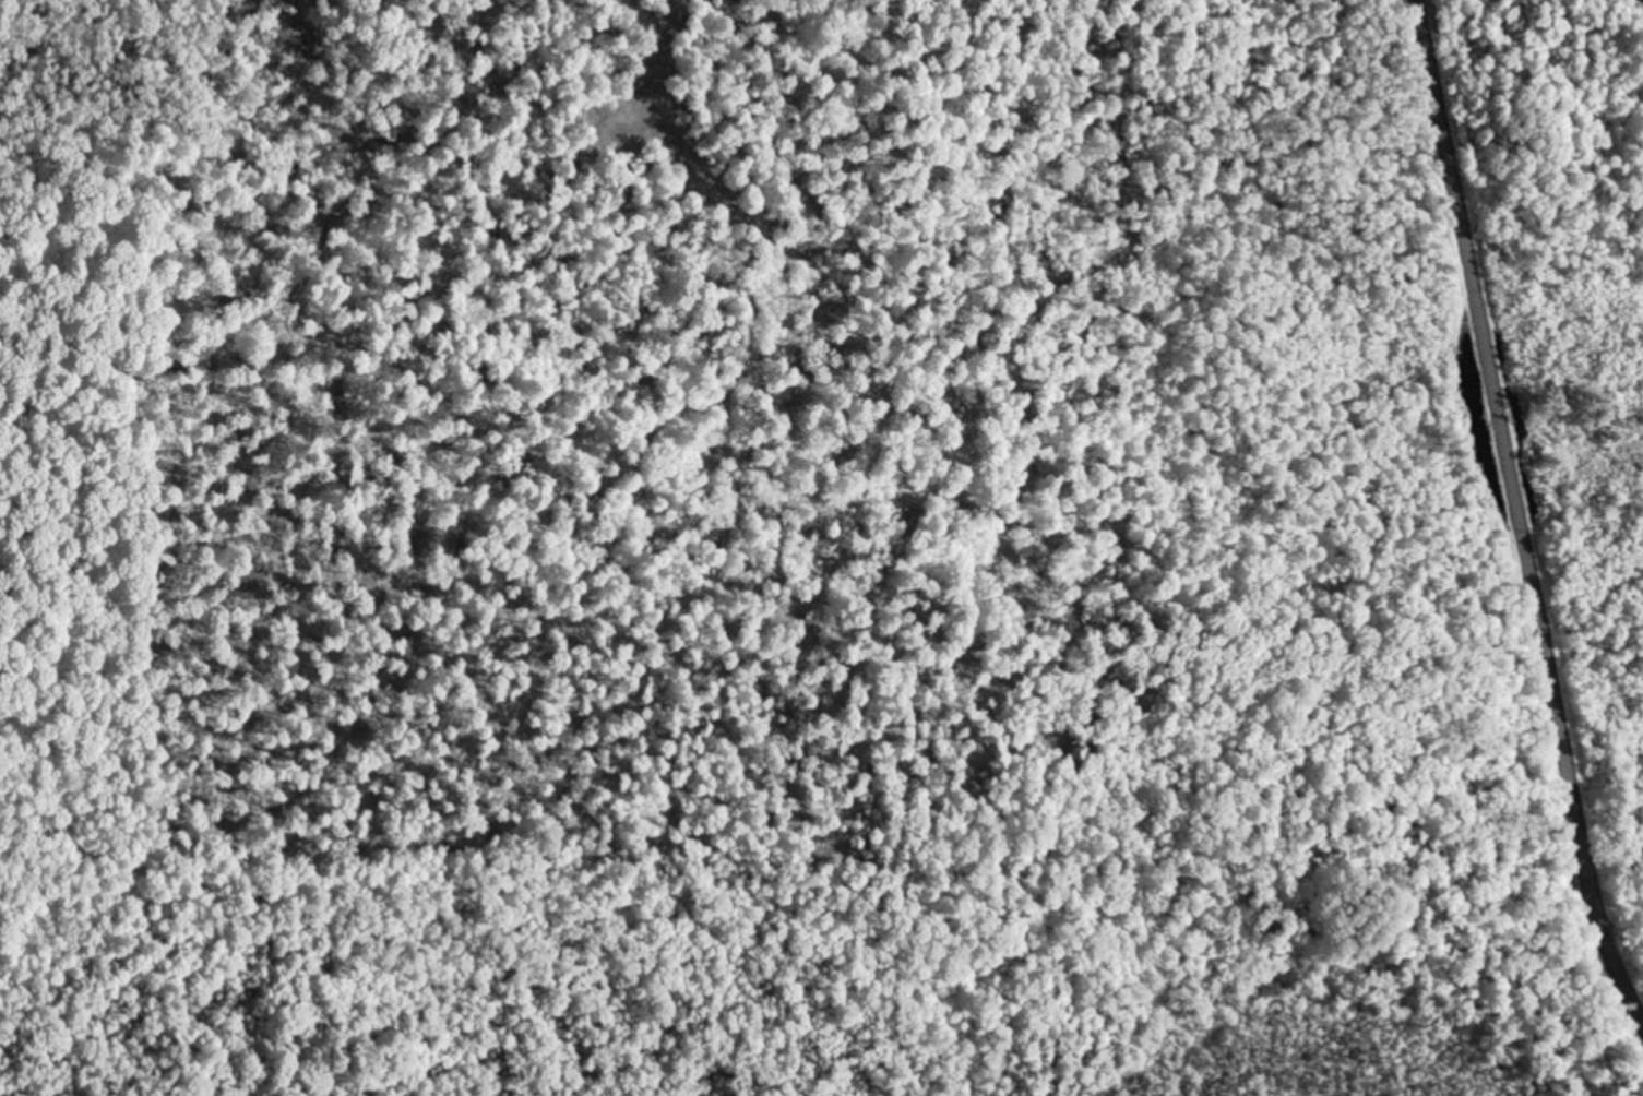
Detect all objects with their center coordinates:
road: (1516, 520)

